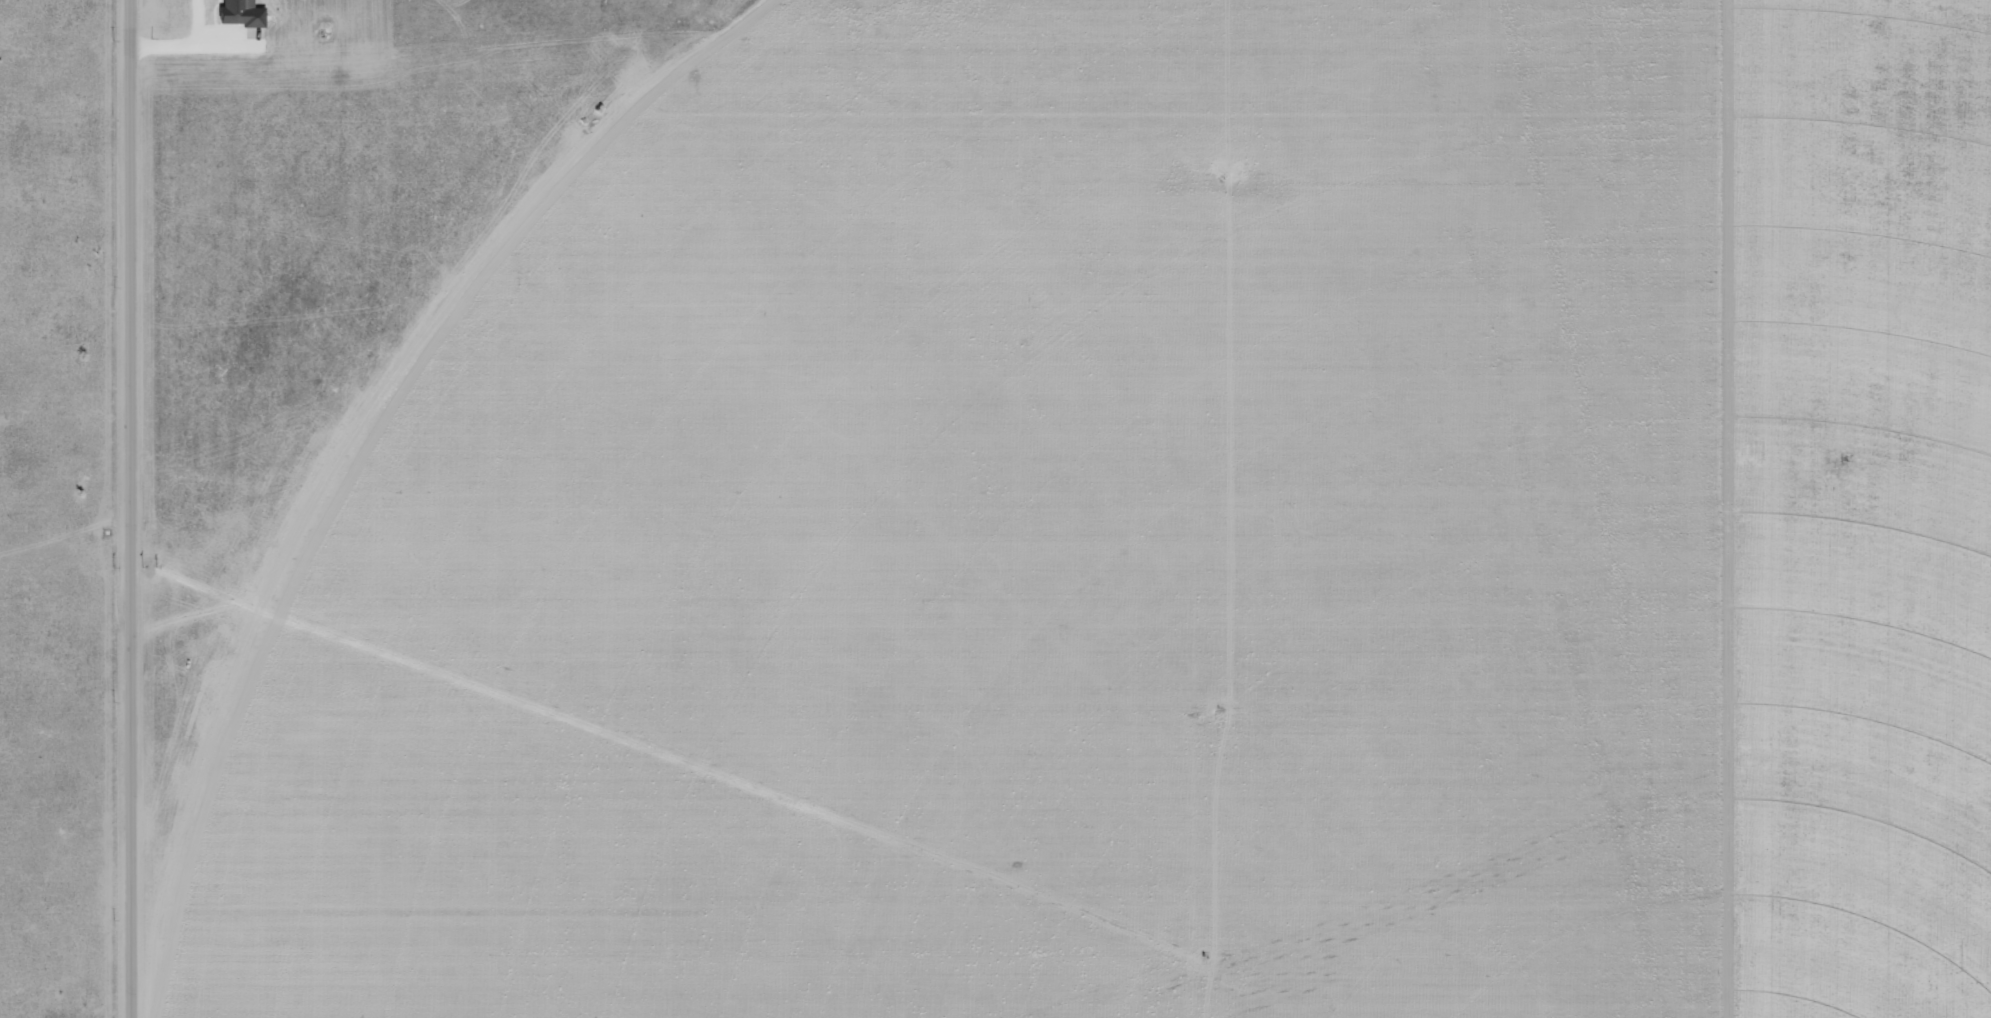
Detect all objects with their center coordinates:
road: (1306, 75)
road: (56, 497)
road: (113, 508)

